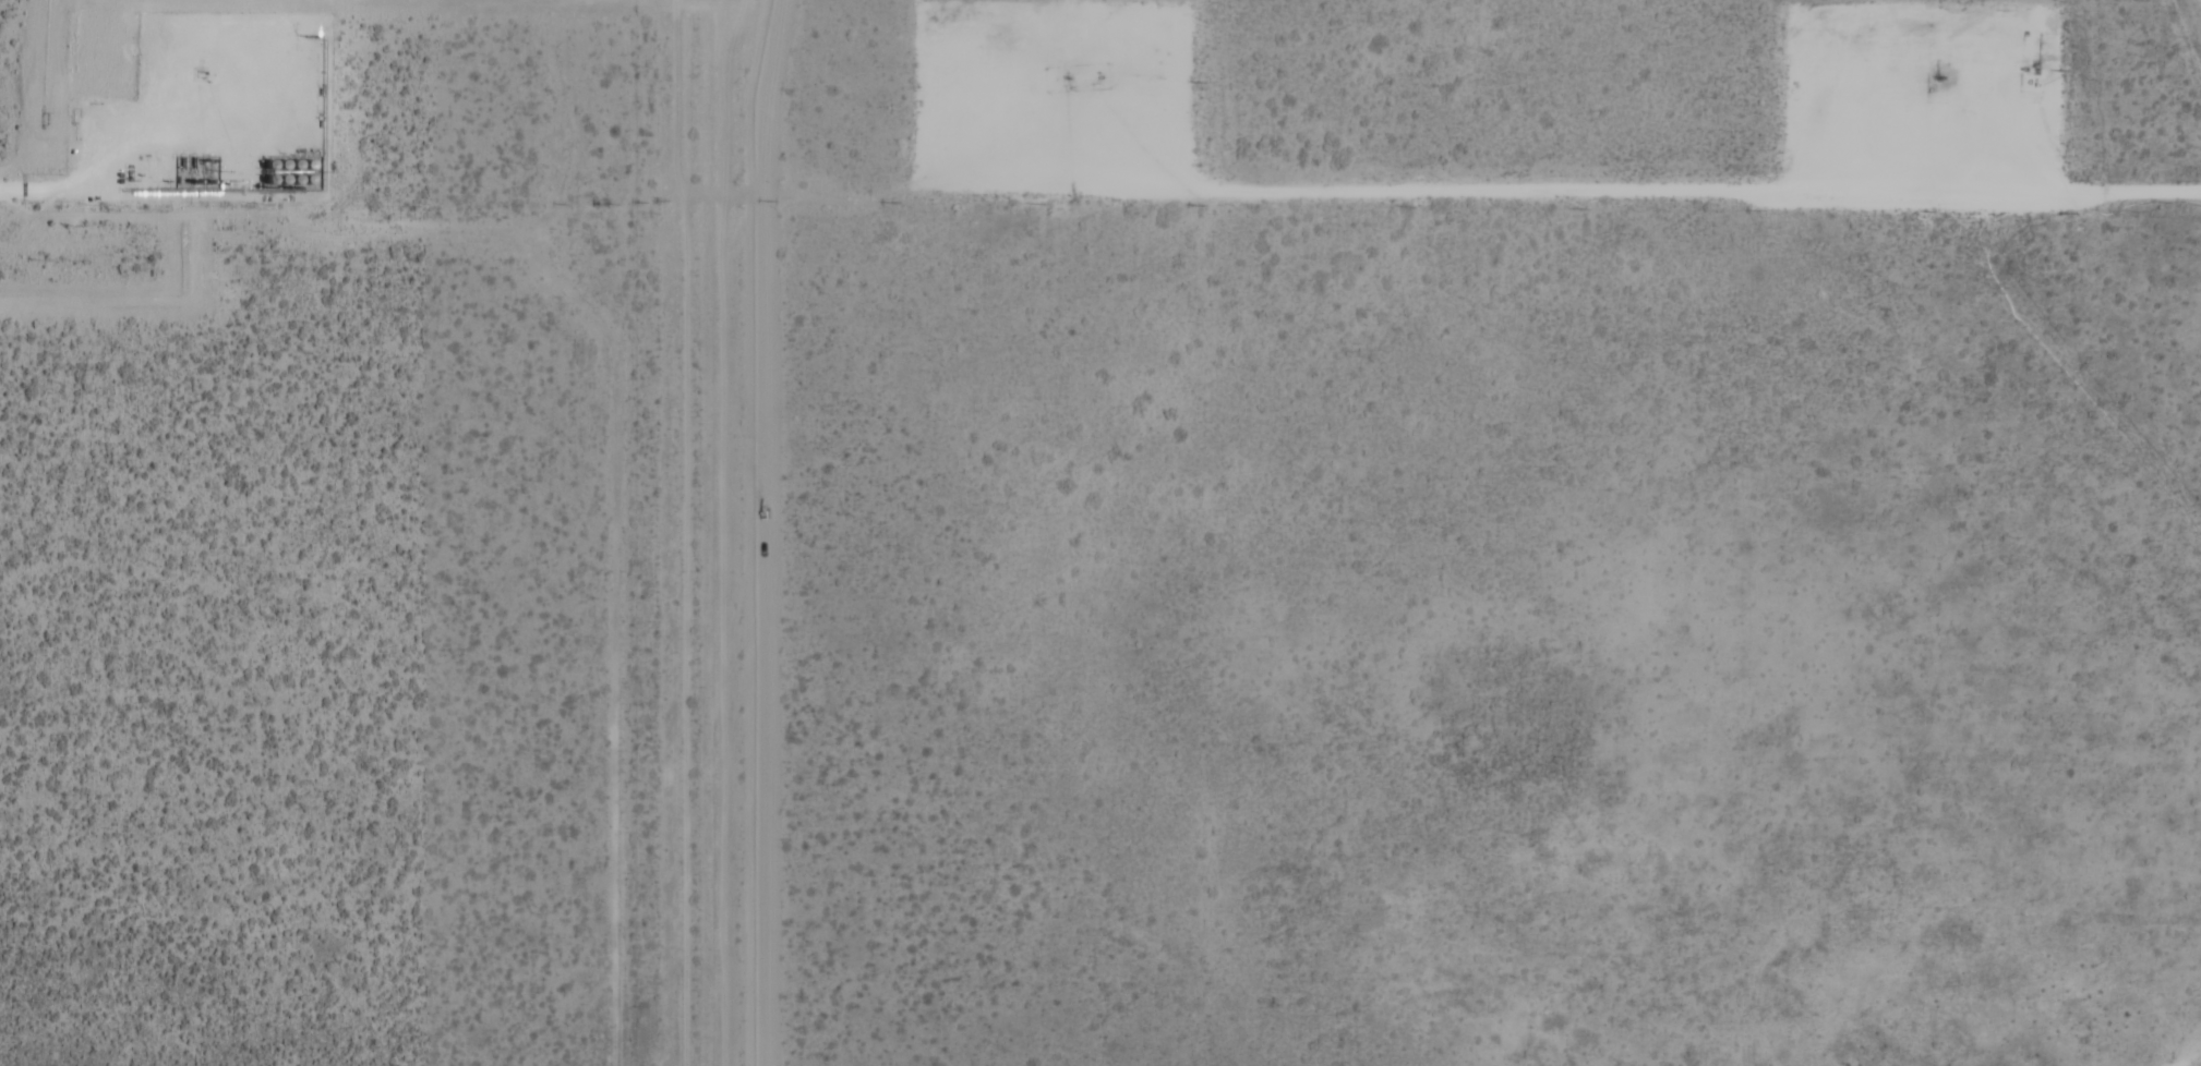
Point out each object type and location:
petroleum well: (201, 71)
petroleum well: (1937, 76)
petroleum well: (1066, 77)
road: (1005, 85)
road: (178, 98)
road: (1936, 107)
road: (48, 183)
road: (1561, 195)

